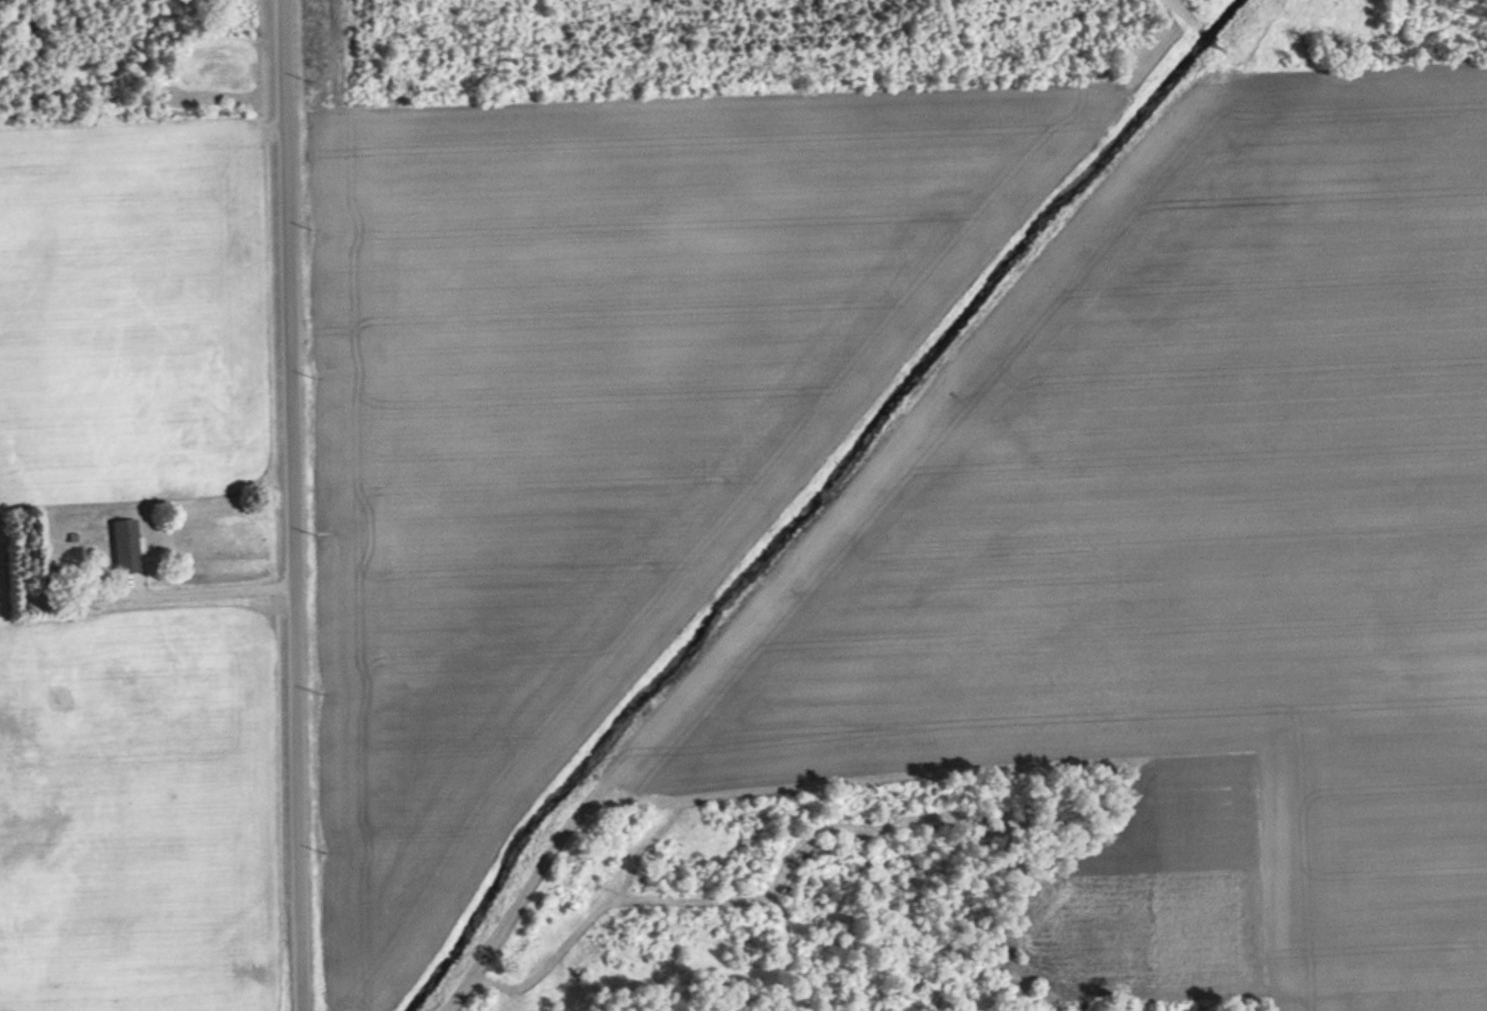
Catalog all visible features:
road: (285, 505)
building: (119, 544)

